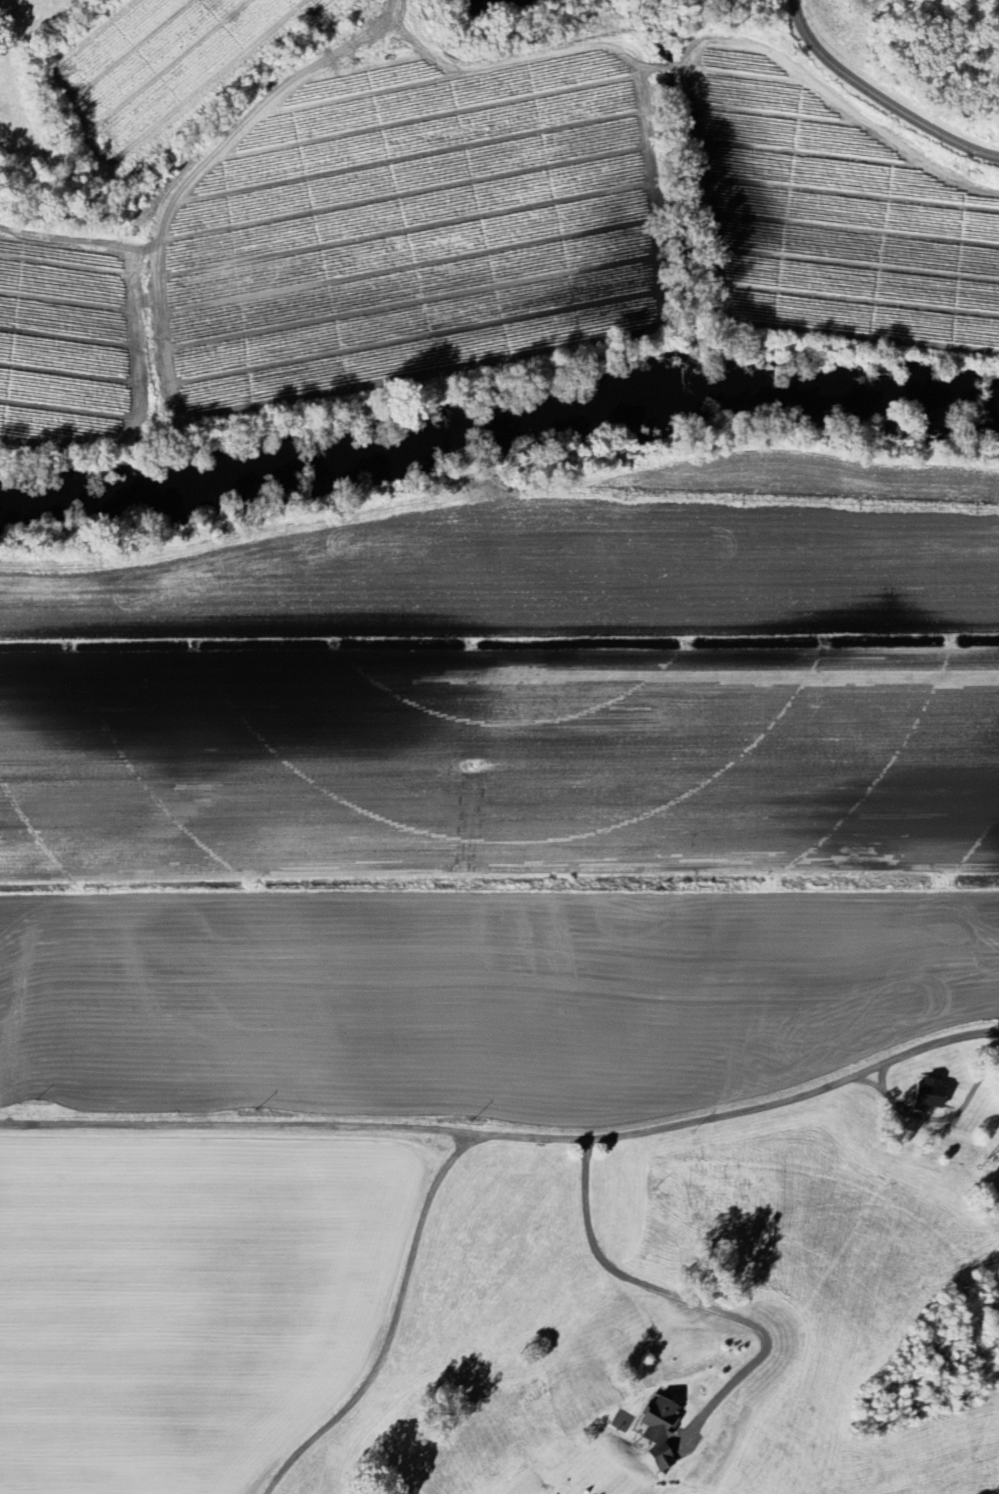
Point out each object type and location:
road: (879, 95)
river: (843, 387)
river: (343, 441)
building: (926, 1094)
road: (744, 1109)
road: (239, 1123)
road: (687, 1300)
road: (392, 1324)
building: (653, 1430)

